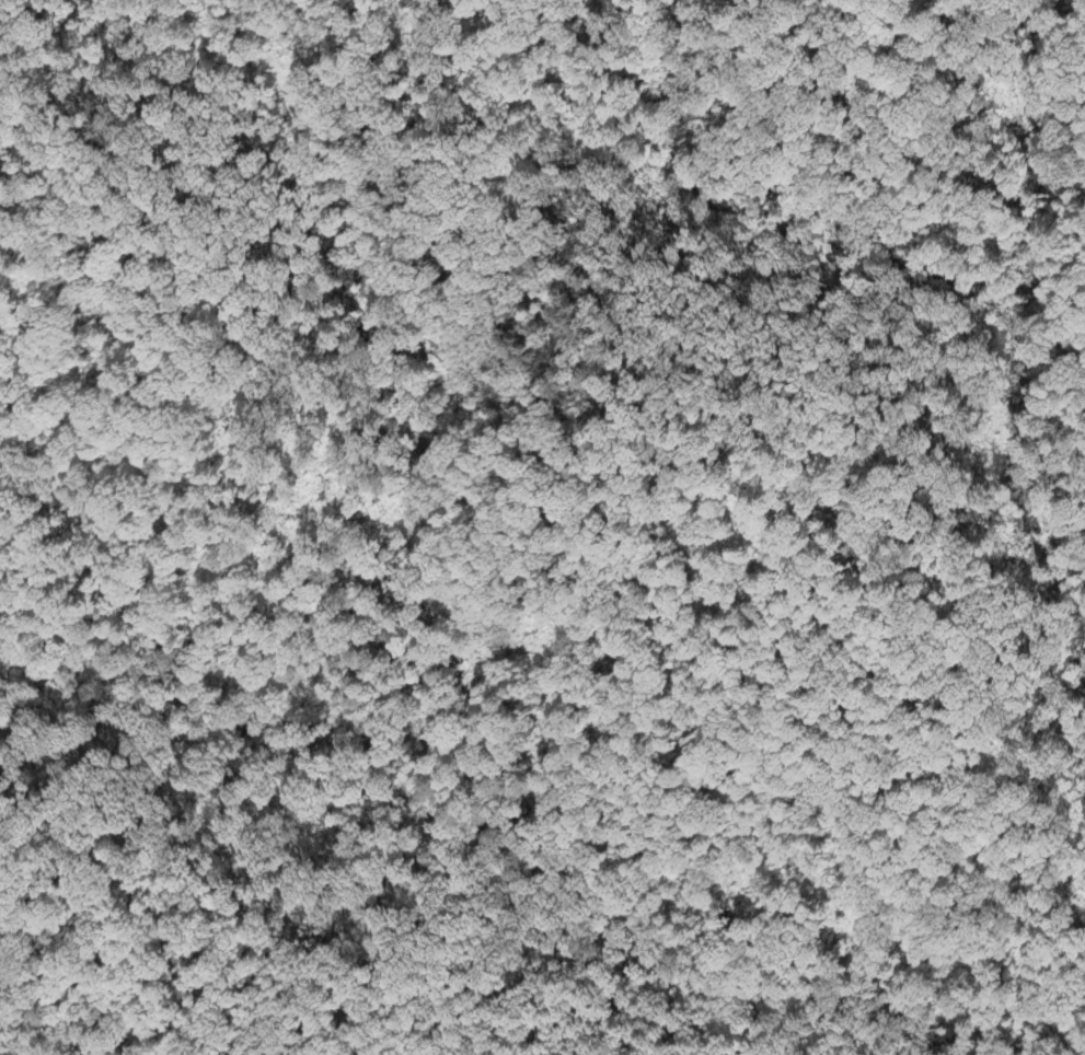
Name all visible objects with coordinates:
road: (383, 742)
park: (719, 892)

